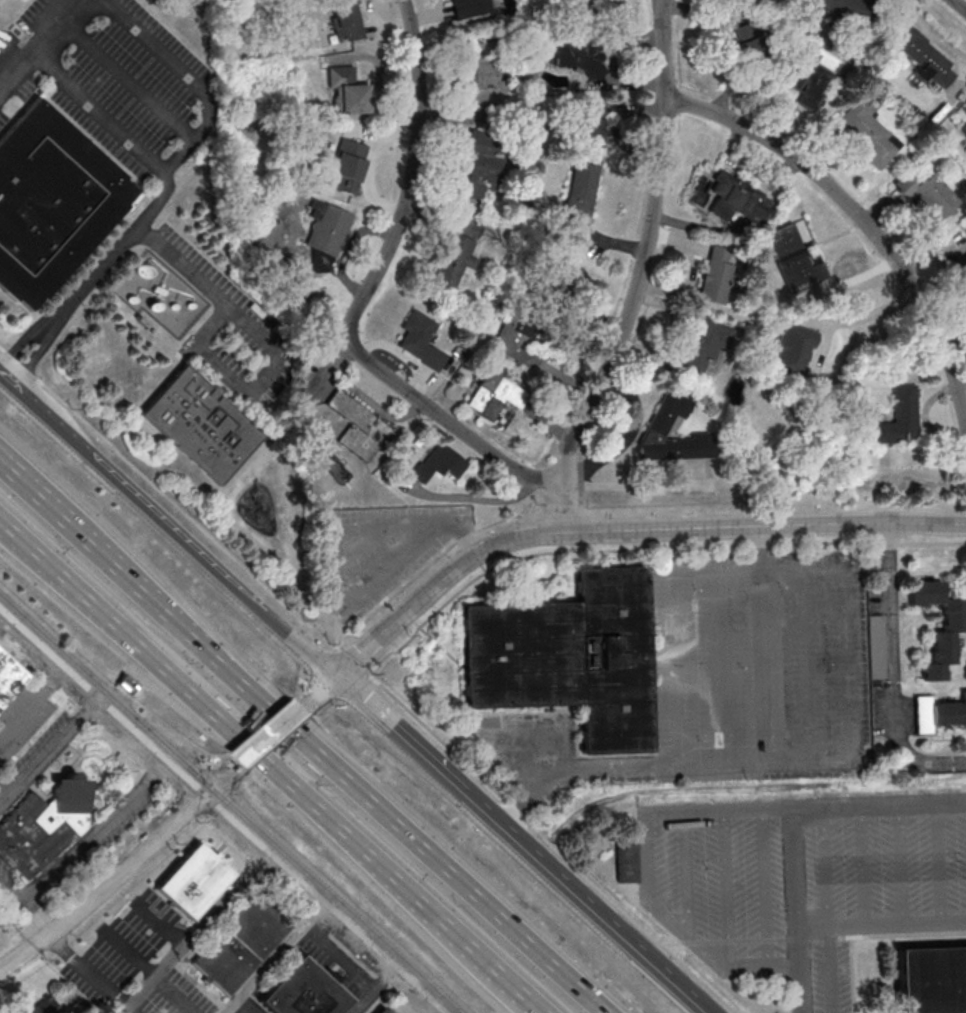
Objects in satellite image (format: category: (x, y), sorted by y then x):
building: (571, 2)
road: (960, 4)
building: (471, 7)
building: (843, 11)
building: (346, 17)
building: (750, 41)
road: (37, 43)
building: (922, 55)
building: (580, 57)
building: (487, 72)
road: (189, 78)
building: (806, 78)
road: (126, 80)
building: (348, 91)
building: (963, 107)
building: (591, 124)
building: (963, 129)
building: (865, 133)
building: (348, 163)
building: (477, 168)
building: (927, 193)
building: (579, 199)
building: (735, 199)
building: (50, 201)
road: (151, 209)
road: (862, 221)
building: (329, 235)
building: (793, 259)
building: (453, 261)
building: (963, 265)
road: (189, 271)
road: (643, 273)
building: (716, 274)
building: (556, 277)
road: (363, 298)
building: (421, 339)
building: (703, 343)
road: (822, 347)
road: (2, 349)
building: (519, 349)
building: (792, 351)
road: (19, 364)
road: (243, 384)
building: (494, 395)
building: (900, 417)
building: (199, 424)
building: (357, 426)
building: (674, 433)
building: (440, 463)
road: (41, 479)
road: (909, 485)
road: (645, 490)
road: (36, 496)
road: (185, 516)
road: (768, 526)
road: (166, 527)
road: (645, 549)
road: (760, 549)
road: (424, 569)
road: (440, 582)
road: (150, 599)
building: (953, 618)
road: (892, 634)
road: (137, 642)
building: (876, 647)
road: (324, 656)
building: (568, 657)
road: (353, 659)
road: (850, 665)
building: (7, 677)
traffic signals: (336, 678)
building: (126, 684)
road: (318, 692)
road: (32, 699)
building: (937, 713)
road: (267, 734)
road: (48, 748)
road: (928, 767)
road: (220, 775)
traffic signals: (205, 789)
road: (300, 790)
road: (225, 808)
road: (381, 808)
road: (793, 824)
building: (42, 826)
road: (163, 830)
road: (86, 836)
road: (548, 843)
road: (520, 844)
building: (626, 862)
road: (937, 863)
road: (898, 864)
road: (862, 866)
road: (823, 868)
parking lot: (802, 880)
building: (191, 881)
road: (420, 902)
road: (61, 923)
road: (881, 925)
road: (199, 929)
building: (237, 944)
road: (274, 956)
road: (90, 973)
road: (570, 980)
building: (931, 980)
road: (375, 988)
building: (301, 991)
road: (176, 996)
road: (523, 1001)
road: (528, 1001)
road: (249, 1004)
building: (43, 1007)
building: (379, 1011)

